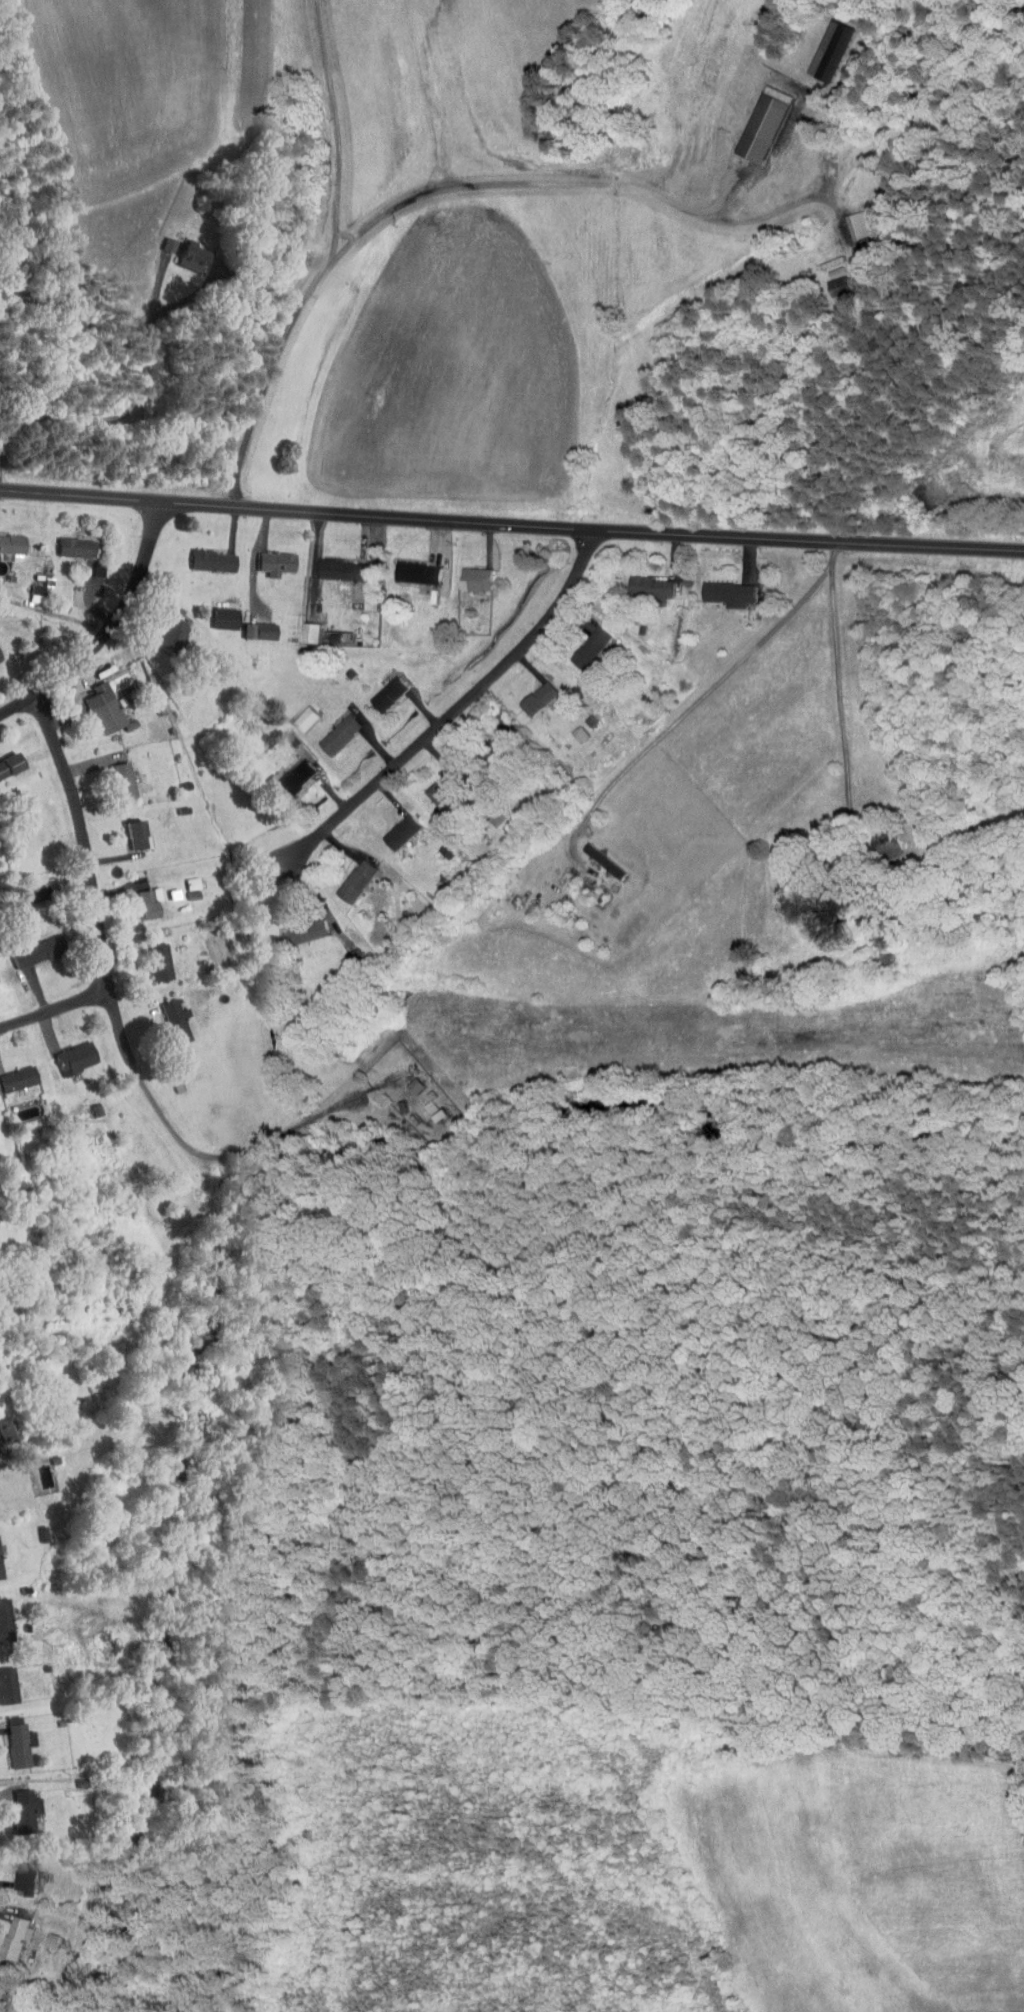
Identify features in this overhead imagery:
building: (822, 45)
road: (423, 94)
road: (260, 103)
building: (757, 118)
road: (659, 197)
building: (848, 219)
building: (184, 252)
building: (830, 280)
road: (258, 284)
road: (294, 317)
road: (511, 524)
building: (8, 538)
building: (68, 541)
building: (205, 555)
building: (268, 557)
building: (337, 565)
building: (408, 566)
building: (467, 573)
building: (642, 580)
building: (720, 587)
building: (361, 597)
building: (218, 612)
building: (252, 625)
building: (304, 626)
building: (165, 628)
road: (107, 631)
building: (581, 641)
building: (380, 687)
building: (531, 692)
building: (96, 702)
road: (690, 705)
road: (842, 708)
building: (297, 712)
building: (332, 728)
road: (438, 730)
building: (6, 758)
building: (287, 773)
building: (116, 774)
building: (435, 782)
building: (393, 825)
building: (128, 828)
building: (347, 874)
building: (140, 897)
building: (304, 926)
road: (103, 932)
building: (26, 947)
building: (153, 956)
road: (56, 1002)
building: (169, 1015)
building: (67, 1052)
building: (13, 1072)
building: (408, 1080)
building: (421, 1101)
building: (4, 1426)
building: (1, 1622)
building: (3, 1681)
building: (12, 1739)
building: (16, 1805)
building: (15, 1872)
building: (9, 1929)

